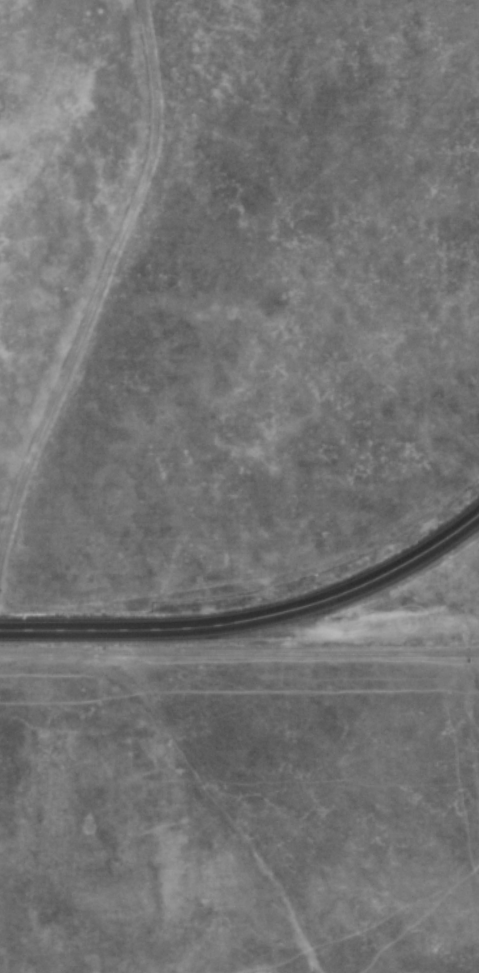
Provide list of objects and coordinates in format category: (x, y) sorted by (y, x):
road: (252, 619)

